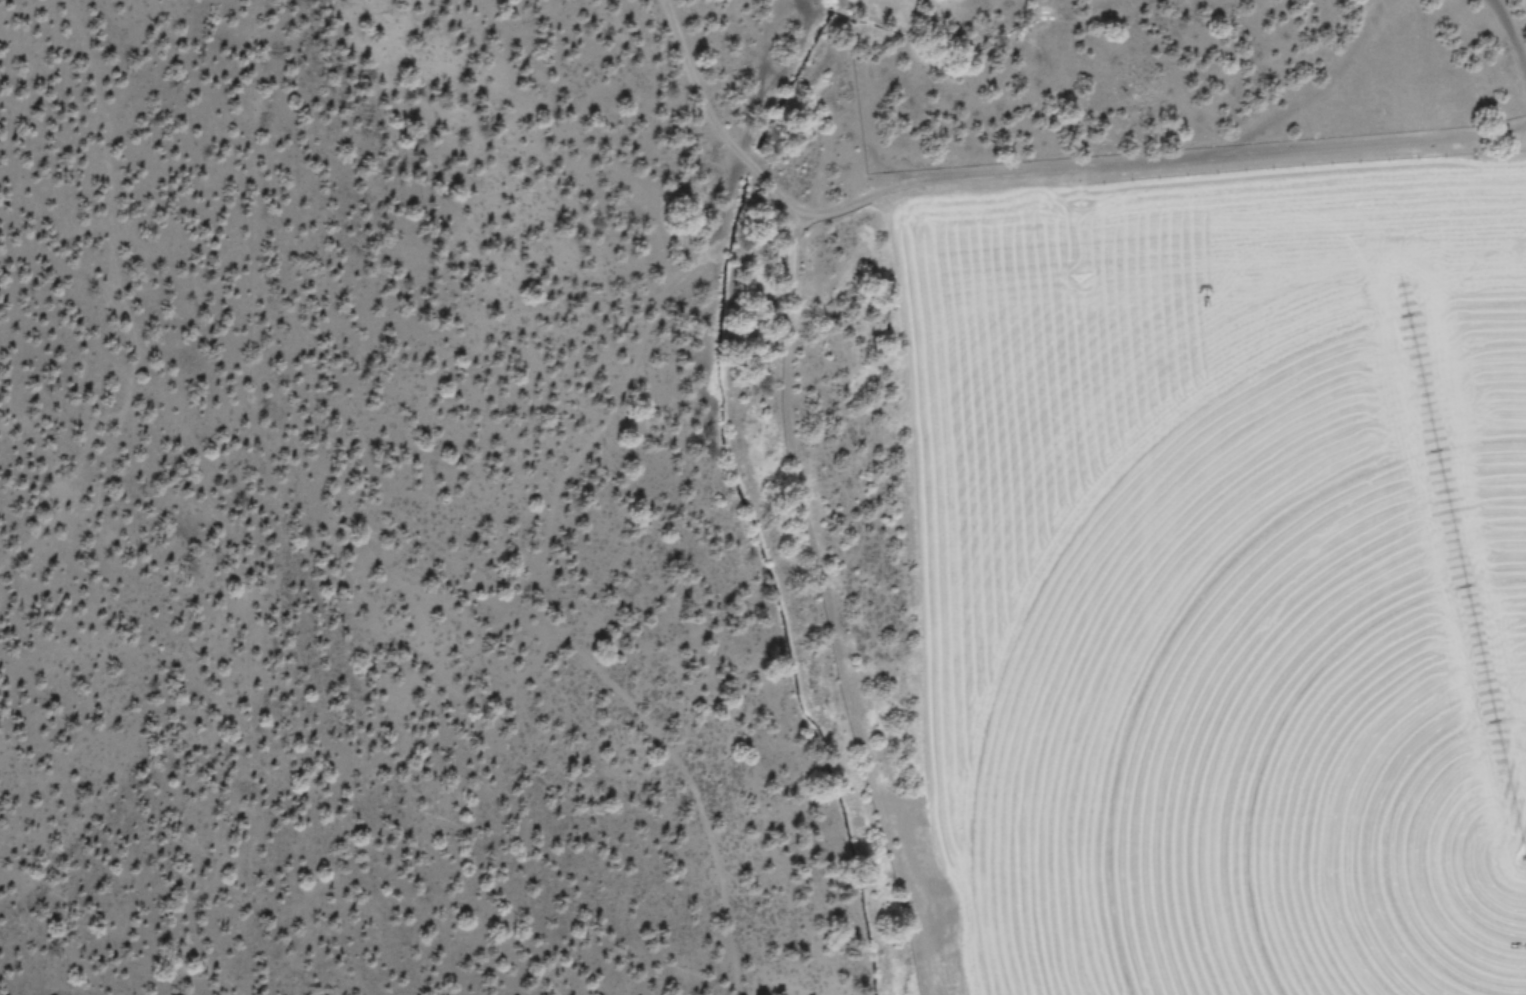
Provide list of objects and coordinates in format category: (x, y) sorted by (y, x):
crop: (883, 2)
crop: (1224, 574)

